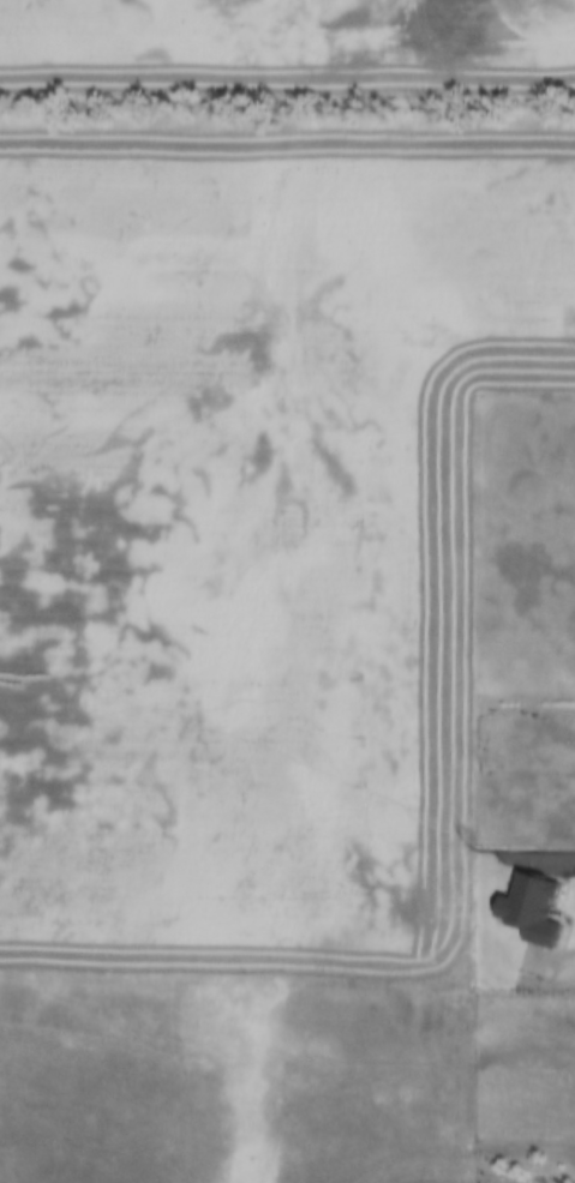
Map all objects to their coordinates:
building: (529, 909)

